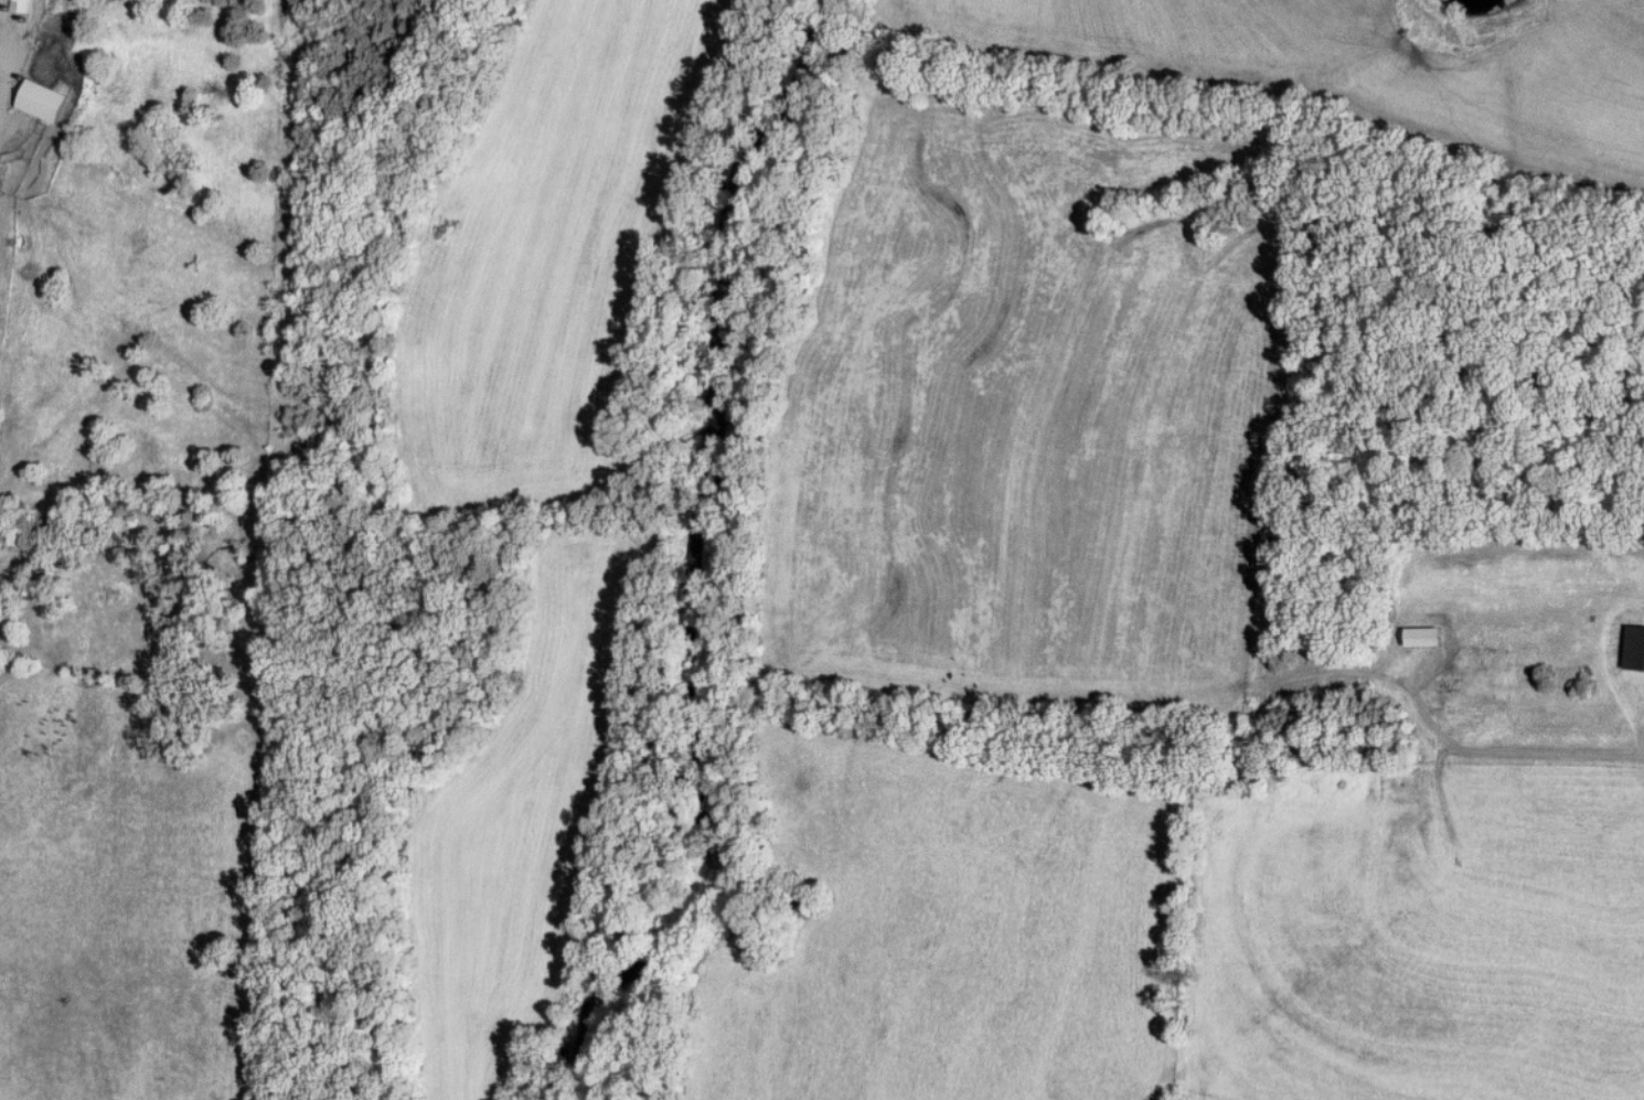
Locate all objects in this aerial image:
building: (38, 7)
building: (43, 103)
building: (1422, 638)
building: (1634, 649)

